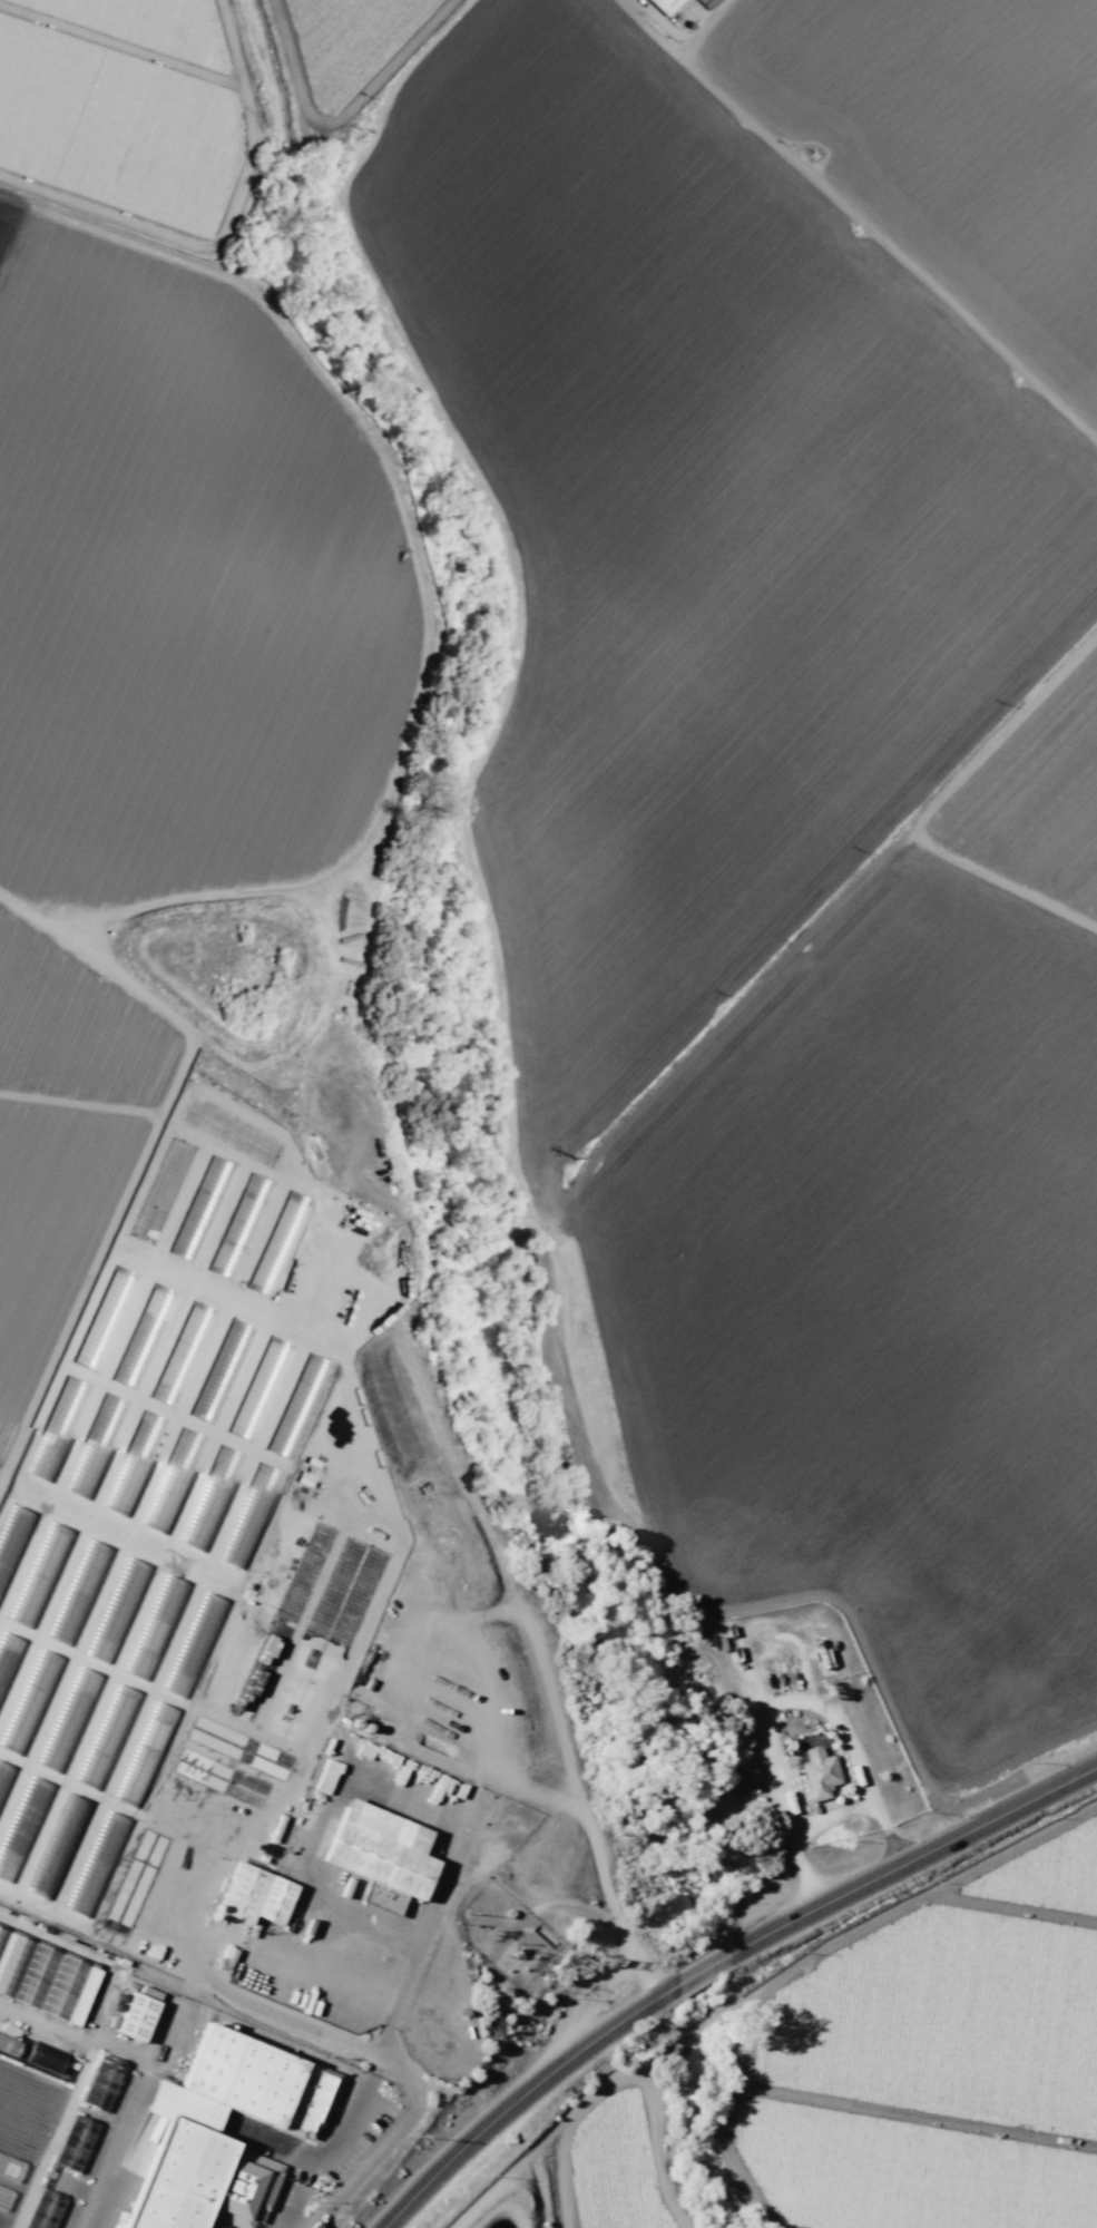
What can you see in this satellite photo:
building: (711, 2)
building: (668, 7)
crop: (613, 709)
building: (202, 1208)
building: (235, 1238)
building: (280, 1243)
building: (119, 1283)
building: (151, 1319)
building: (235, 1556)
road: (781, 1699)
building: (817, 1772)
building: (745, 1773)
road: (327, 1812)
road: (833, 1817)
building: (65, 1820)
building: (380, 1848)
building: (91, 1869)
building: (255, 1895)
building: (388, 1899)
road: (414, 1962)
road: (719, 1966)
building: (59, 1990)
building: (133, 2014)
road: (323, 2033)
building: (9, 2045)
building: (46, 2056)
crop: (940, 2061)
building: (261, 2080)
building: (100, 2082)
crop: (30, 2109)
building: (74, 2142)
crop: (601, 2175)
crop: (127, 2227)

